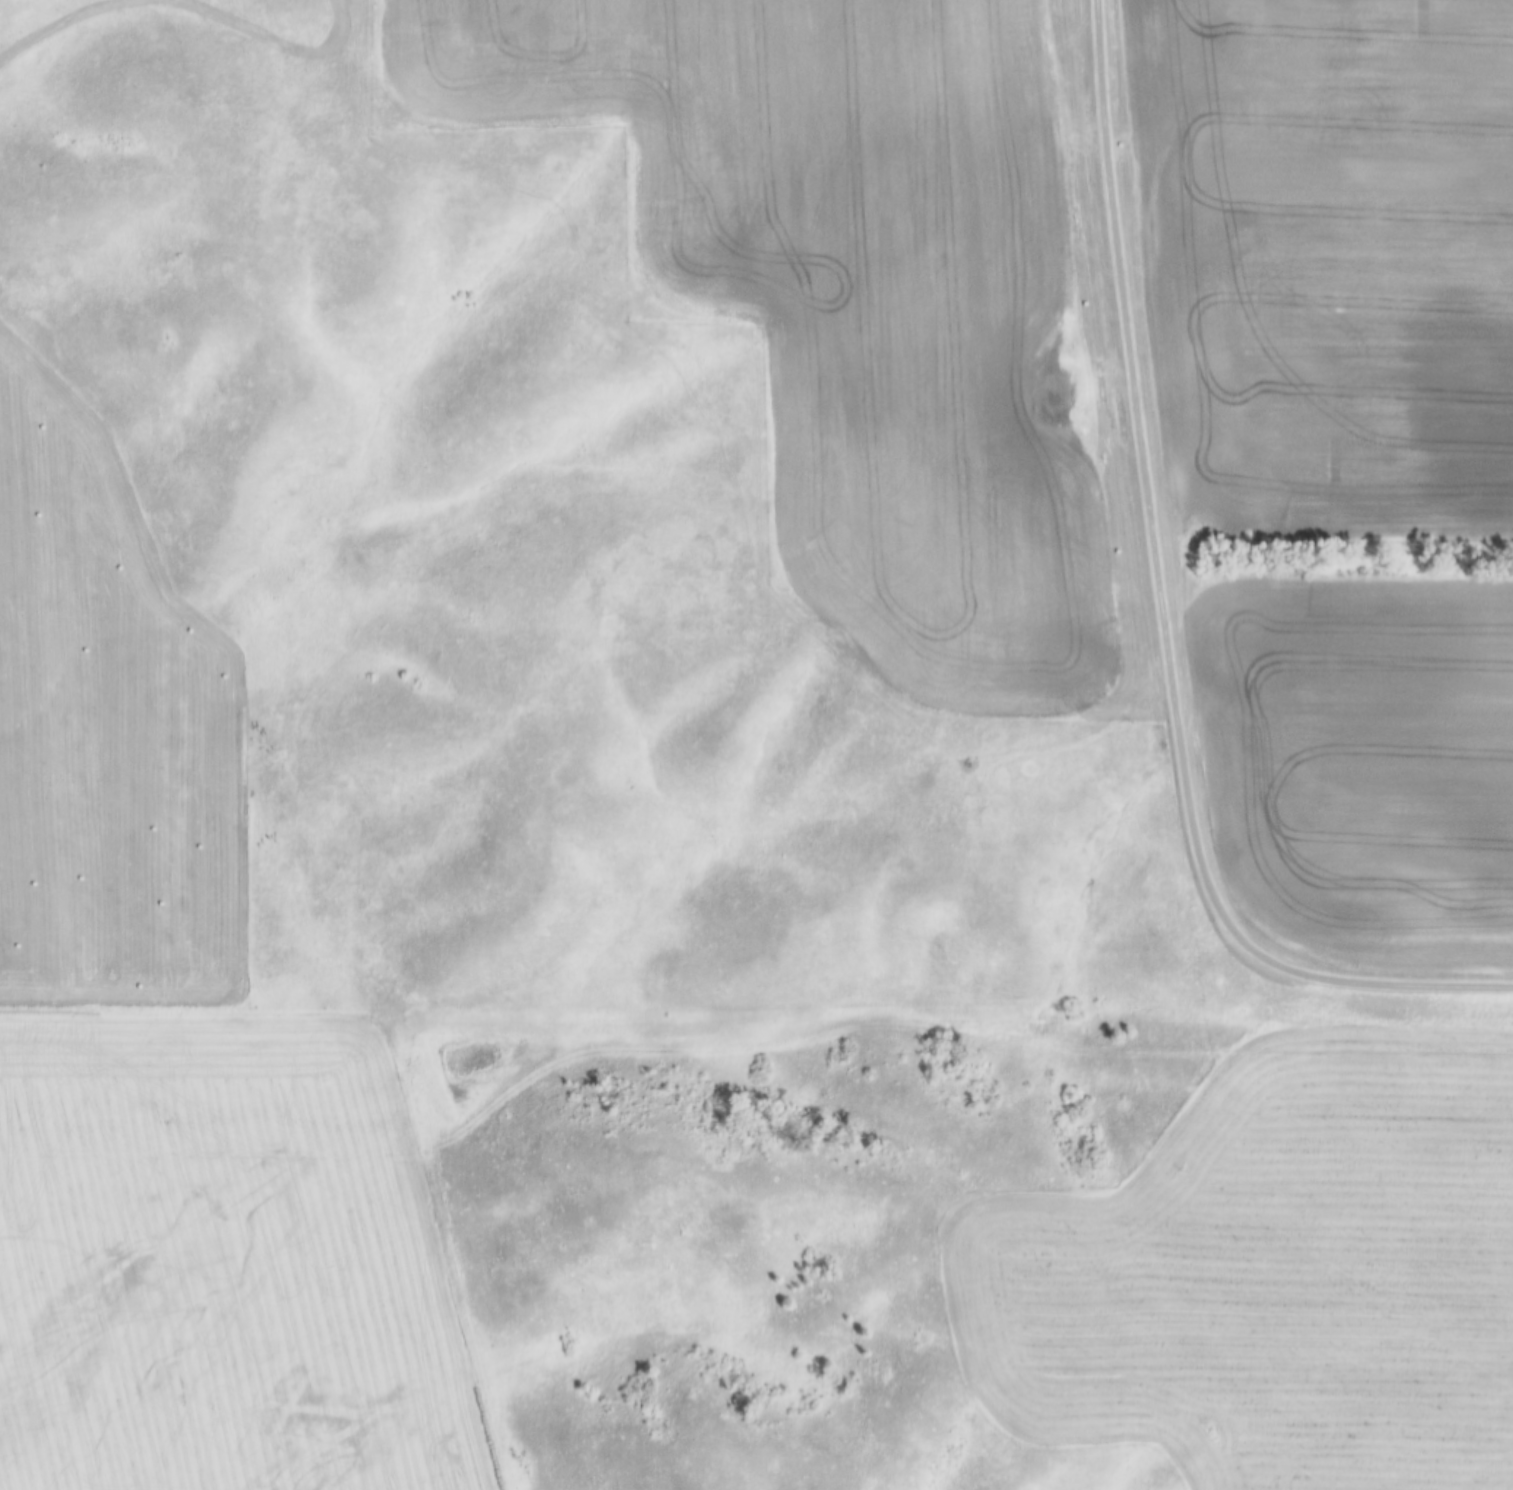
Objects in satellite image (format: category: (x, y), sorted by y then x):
road: (1164, 614)

